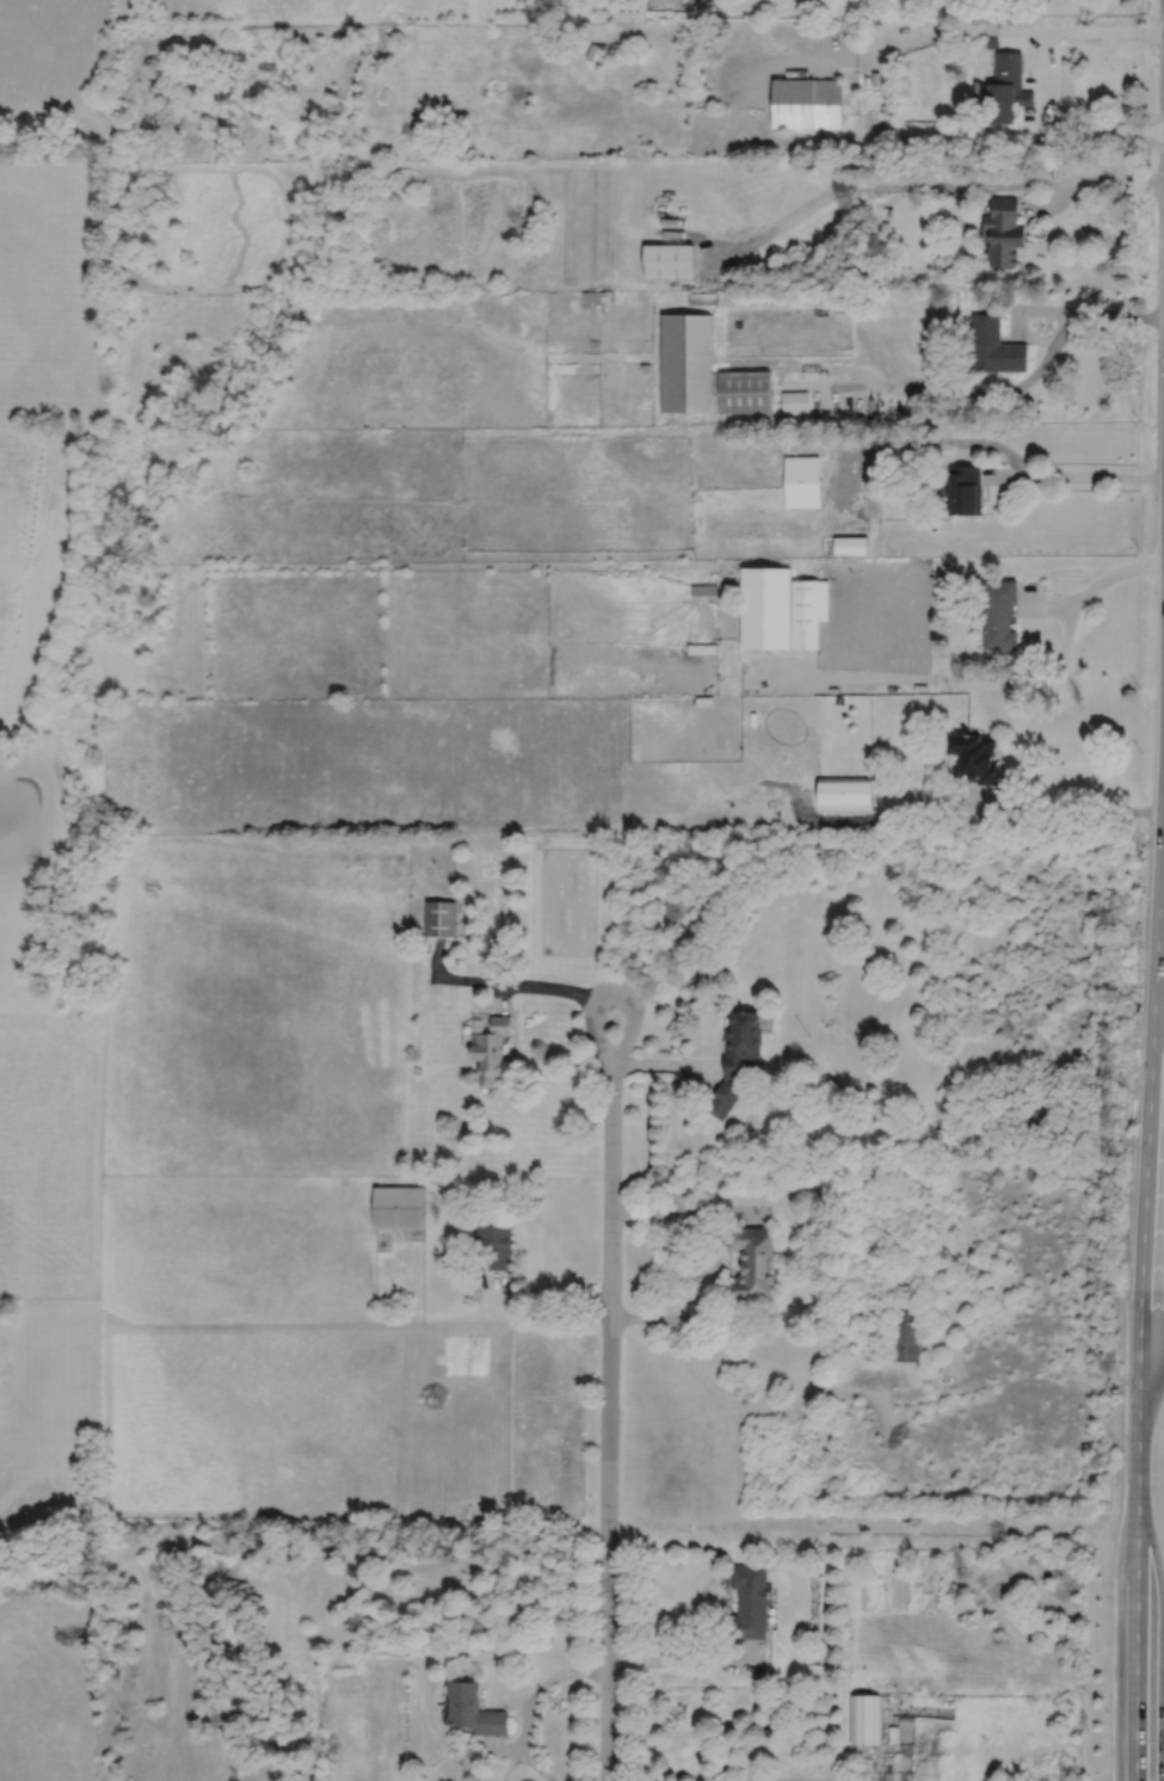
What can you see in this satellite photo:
road: (696, 1)
building: (664, 4)
road: (1101, 32)
building: (992, 42)
road: (1037, 50)
road: (883, 53)
building: (627, 54)
building: (1006, 88)
building: (806, 104)
road: (1083, 123)
road: (1121, 180)
road: (892, 183)
road: (1057, 203)
road: (686, 233)
building: (1003, 233)
building: (670, 261)
road: (714, 264)
building: (598, 297)
building: (704, 300)
road: (1018, 310)
road: (1125, 315)
road: (857, 347)
building: (993, 347)
building: (688, 363)
building: (567, 368)
building: (647, 369)
road: (829, 383)
building: (741, 392)
road: (999, 392)
building: (794, 403)
road: (999, 474)
road: (1088, 475)
building: (803, 479)
building: (963, 487)
road: (1005, 501)
building: (850, 543)
road: (1117, 574)
road: (1052, 603)
building: (768, 605)
building: (808, 610)
building: (998, 611)
road: (946, 679)
building: (973, 756)
building: (844, 791)
road: (983, 797)
road: (1073, 811)
road: (864, 818)
building: (441, 917)
road: (512, 982)
building: (492, 1049)
building: (737, 1060)
road: (665, 1066)
building: (400, 1207)
road: (664, 1209)
road: (741, 1210)
building: (494, 1243)
building: (750, 1262)
road: (540, 1298)
road: (706, 1306)
road: (1139, 1321)
building: (905, 1335)
road: (1151, 1355)
road: (1151, 1364)
street lamp: (1120, 1369)
road: (610, 1398)
road: (769, 1407)
road: (1114, 1536)
street lamp: (1108, 1595)
building: (751, 1601)
road: (684, 1662)
road: (542, 1684)
building: (886, 1702)
building: (917, 1702)
building: (904, 1703)
building: (938, 1703)
building: (472, 1711)
street lamp: (1107, 1711)
building: (864, 1720)
building: (905, 1720)
road: (844, 1721)
building: (893, 1736)
road: (505, 1748)
road: (510, 1763)
road: (535, 1764)

